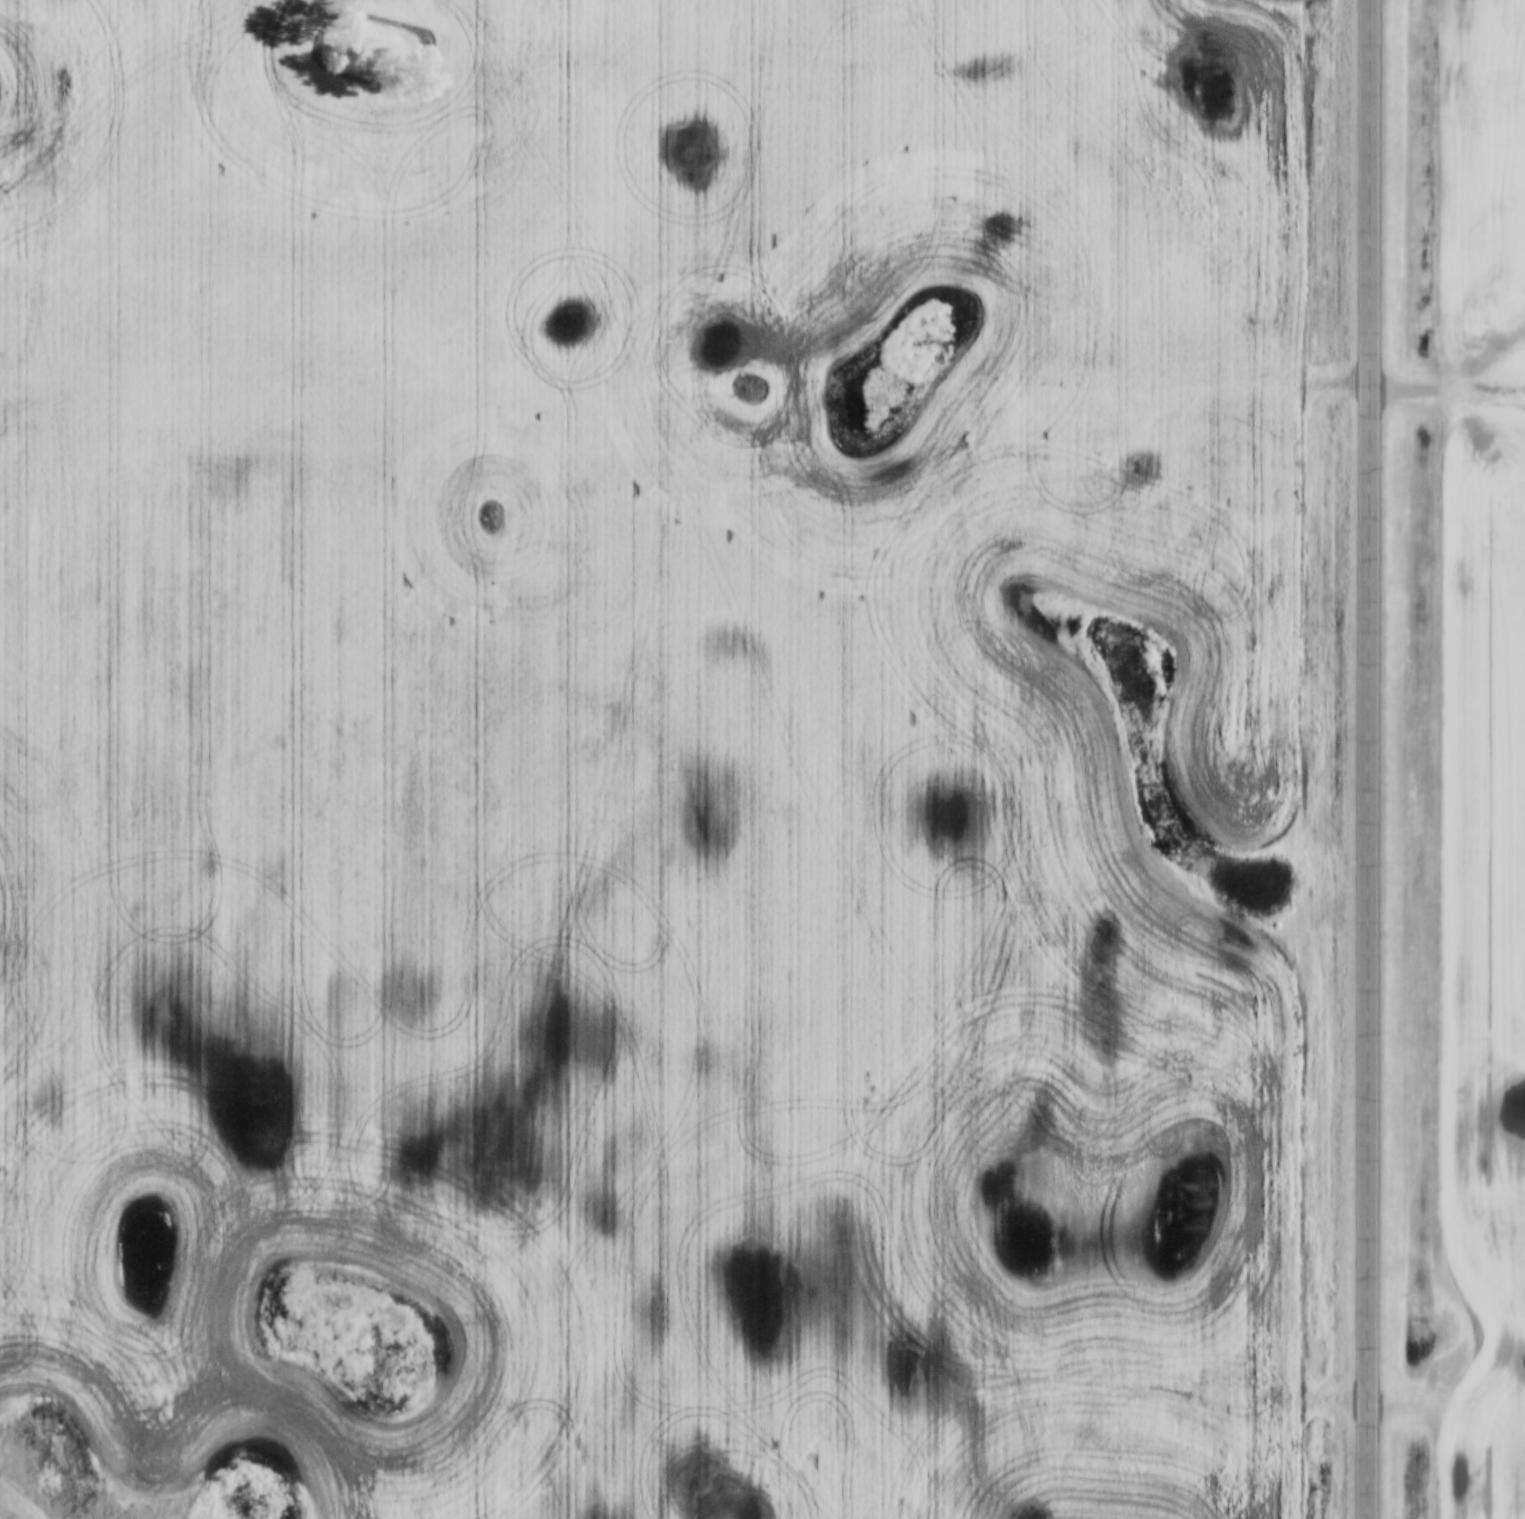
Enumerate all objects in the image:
road: (1369, 759)

